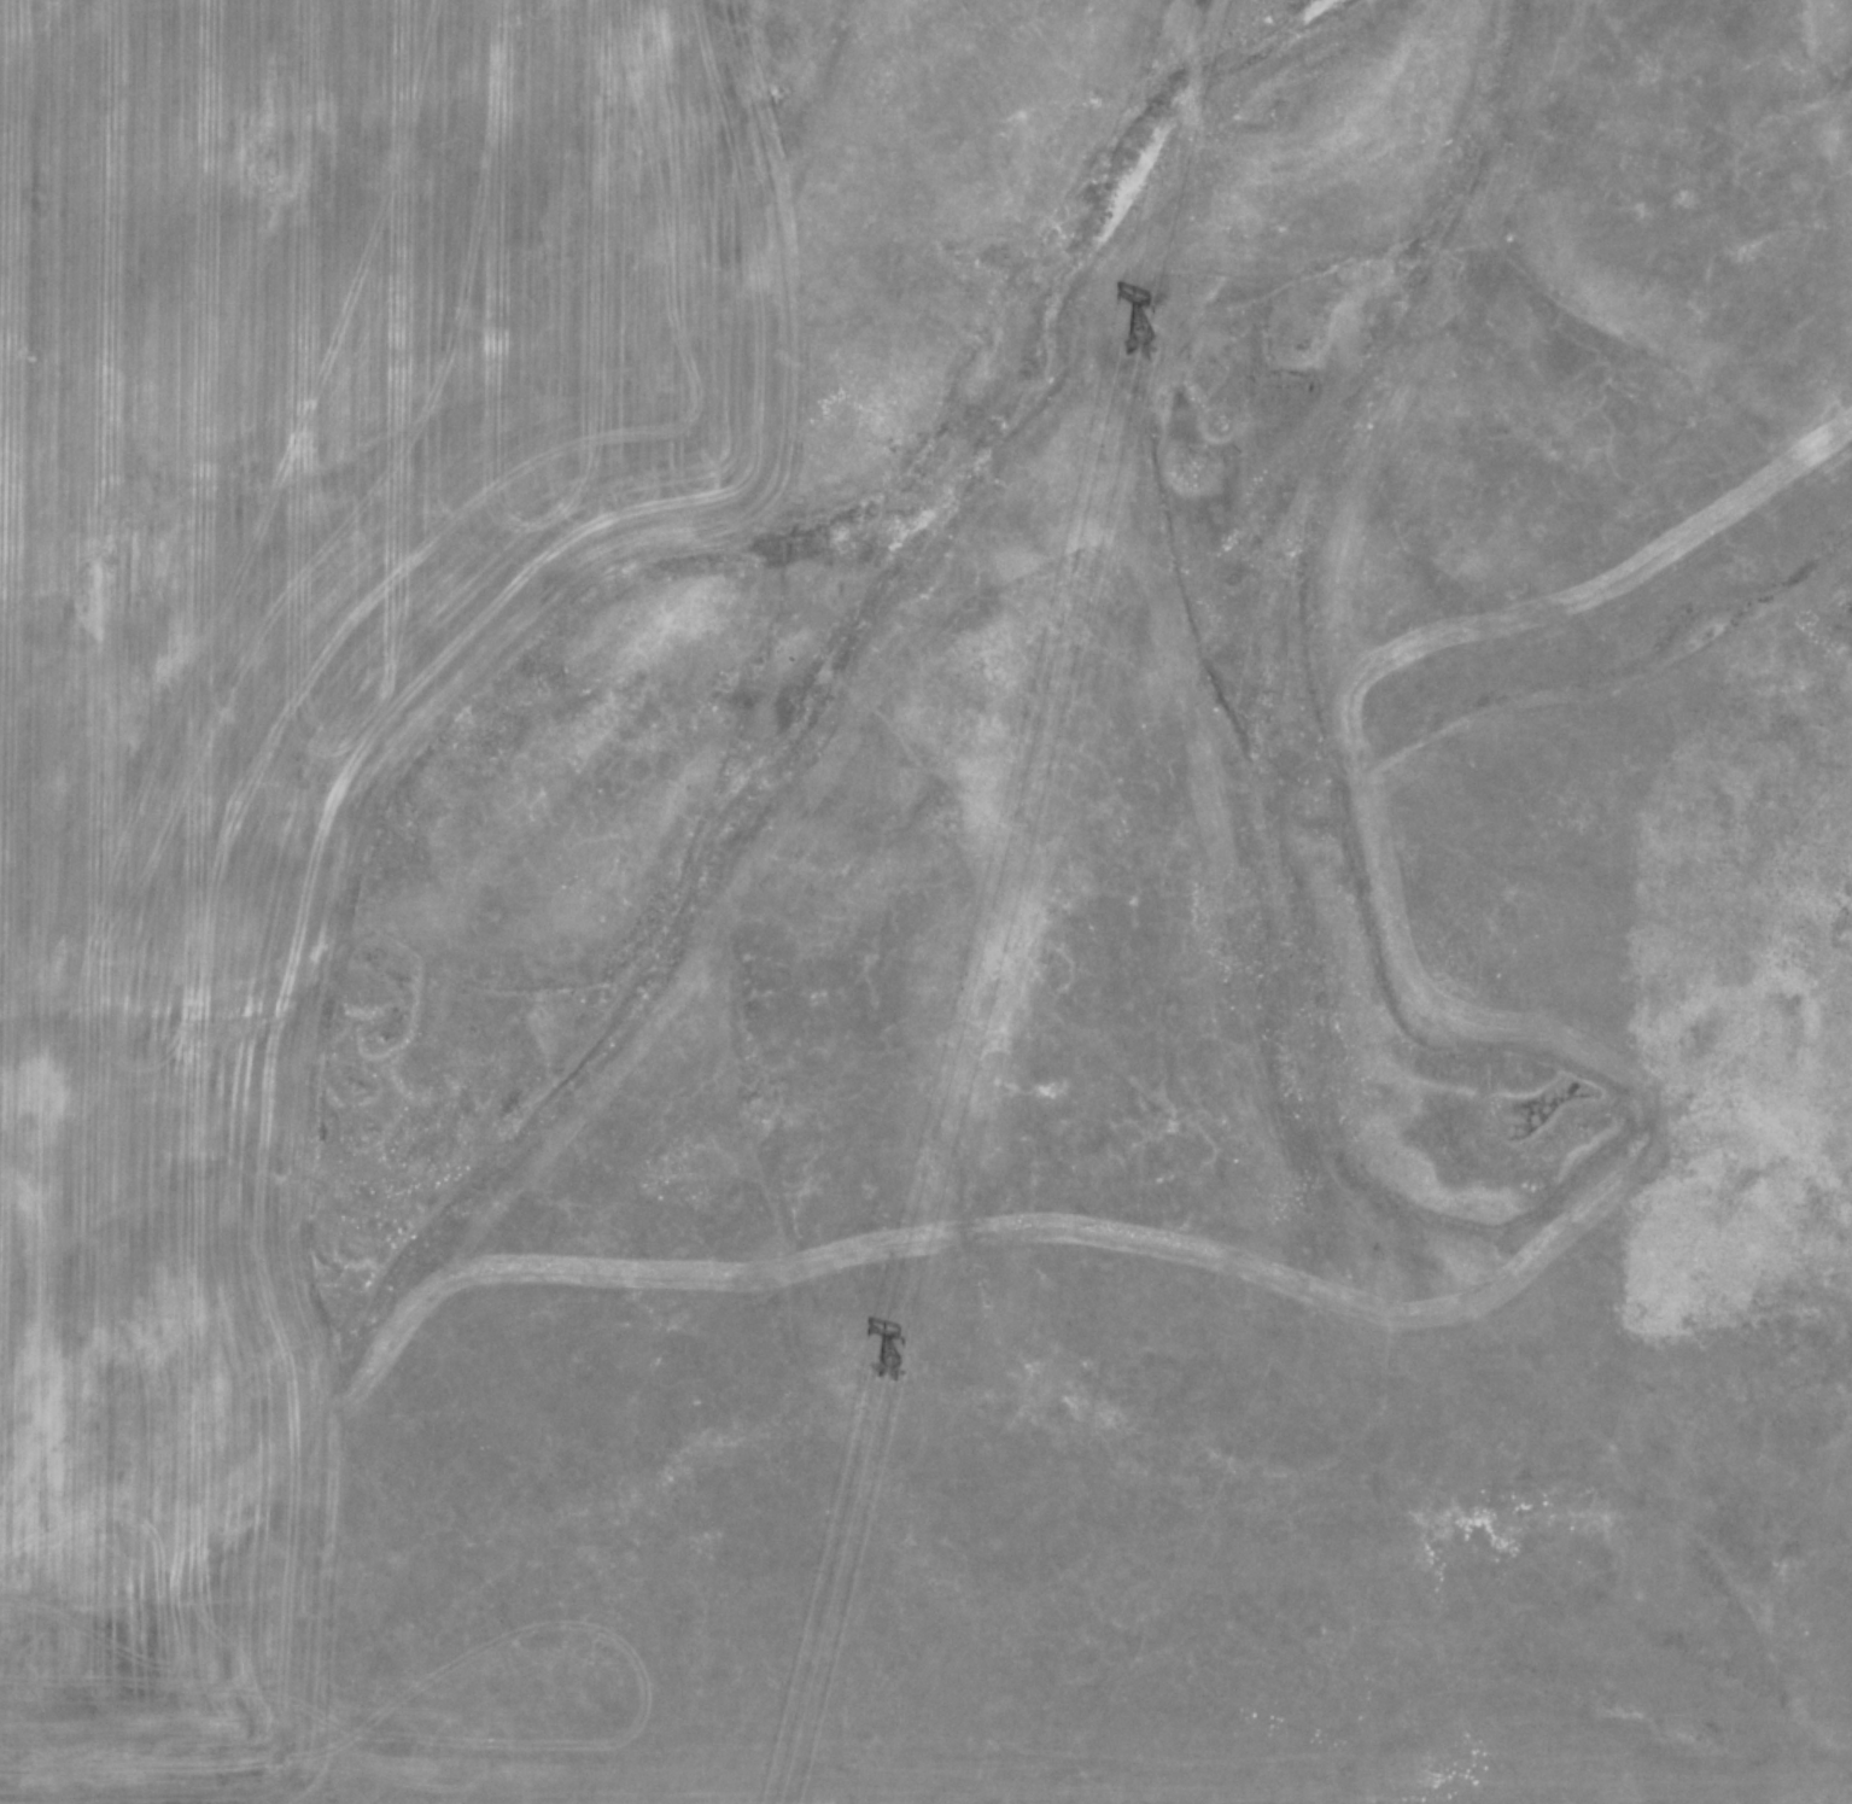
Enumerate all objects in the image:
power tower: (1145, 334)
power tower: (901, 1364)

